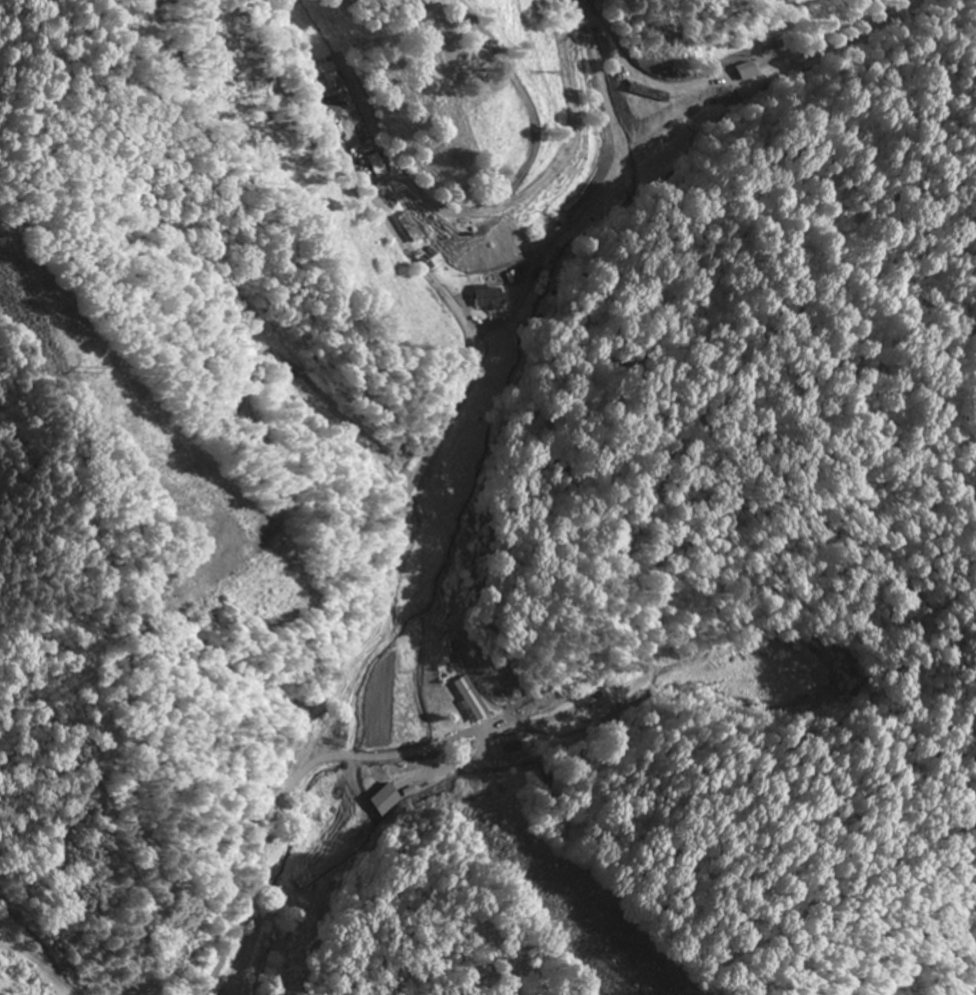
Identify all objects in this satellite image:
building: (337, 87)
building: (383, 165)
building: (417, 227)
building: (488, 297)
road: (333, 653)
building: (472, 699)
building: (517, 747)
building: (387, 800)

